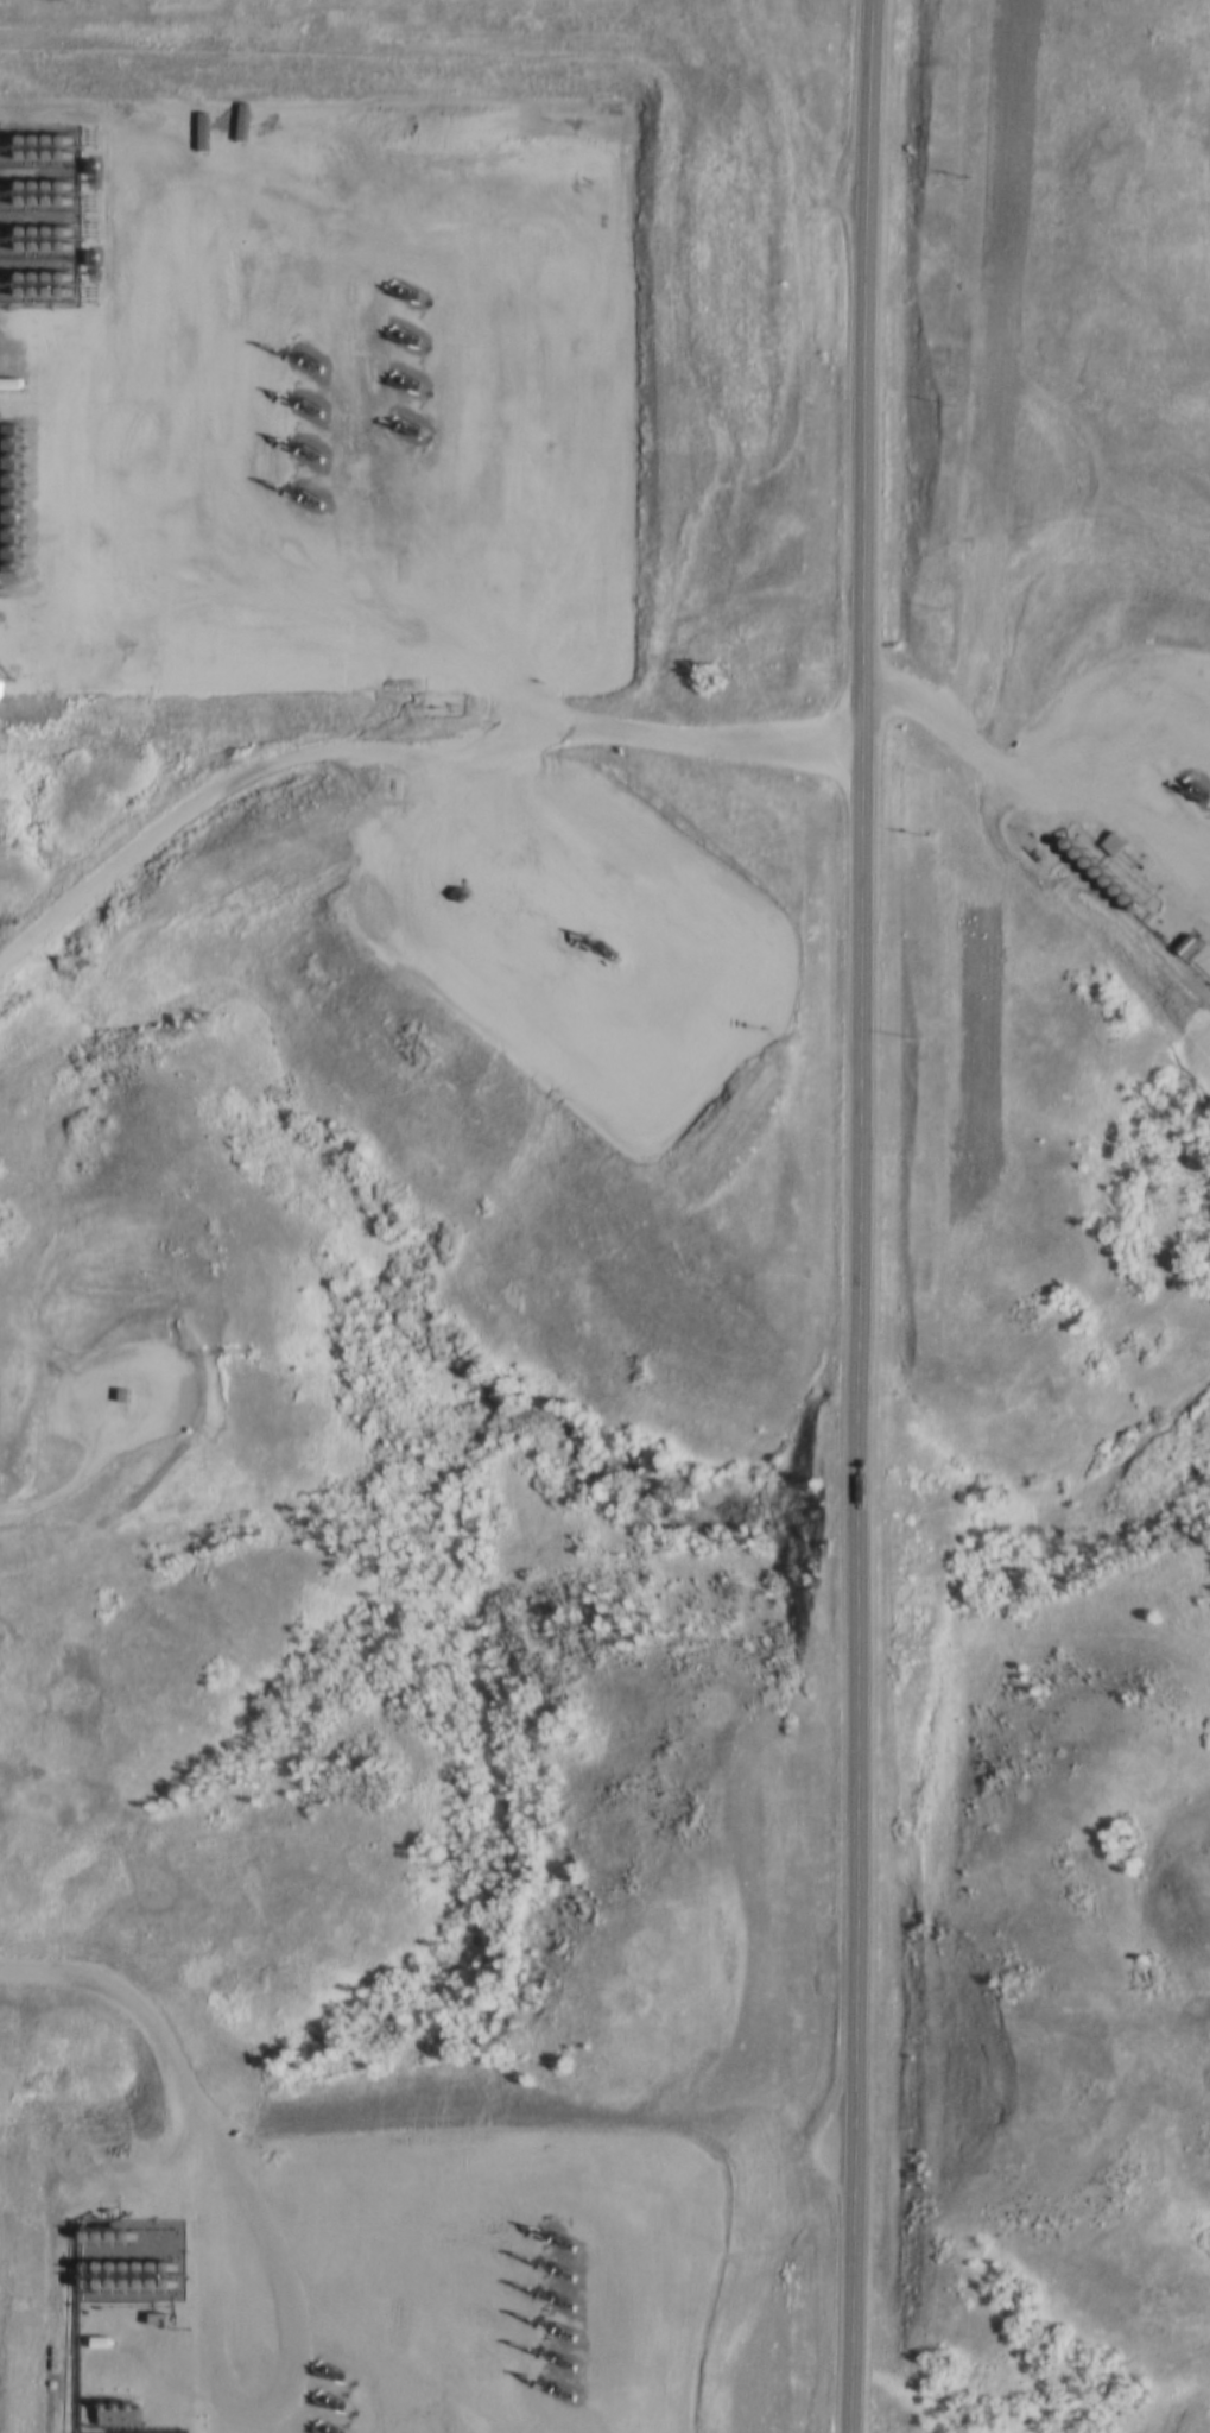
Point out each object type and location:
building: (80, 163)
building: (78, 254)
petroleum well: (403, 289)
petroleum well: (399, 331)
petroleum well: (293, 354)
petroleum well: (400, 375)
building: (5, 381)
petroleum well: (287, 403)
petroleum well: (404, 421)
petroleum well: (290, 444)
petroleum well: (292, 486)
road: (954, 726)
road: (612, 727)
road: (167, 830)
building: (454, 891)
petroleum well: (602, 946)
building: (688, 1038)
building: (660, 1110)
road: (860, 1216)
road: (135, 1369)
building: (119, 1395)
road: (46, 1498)

